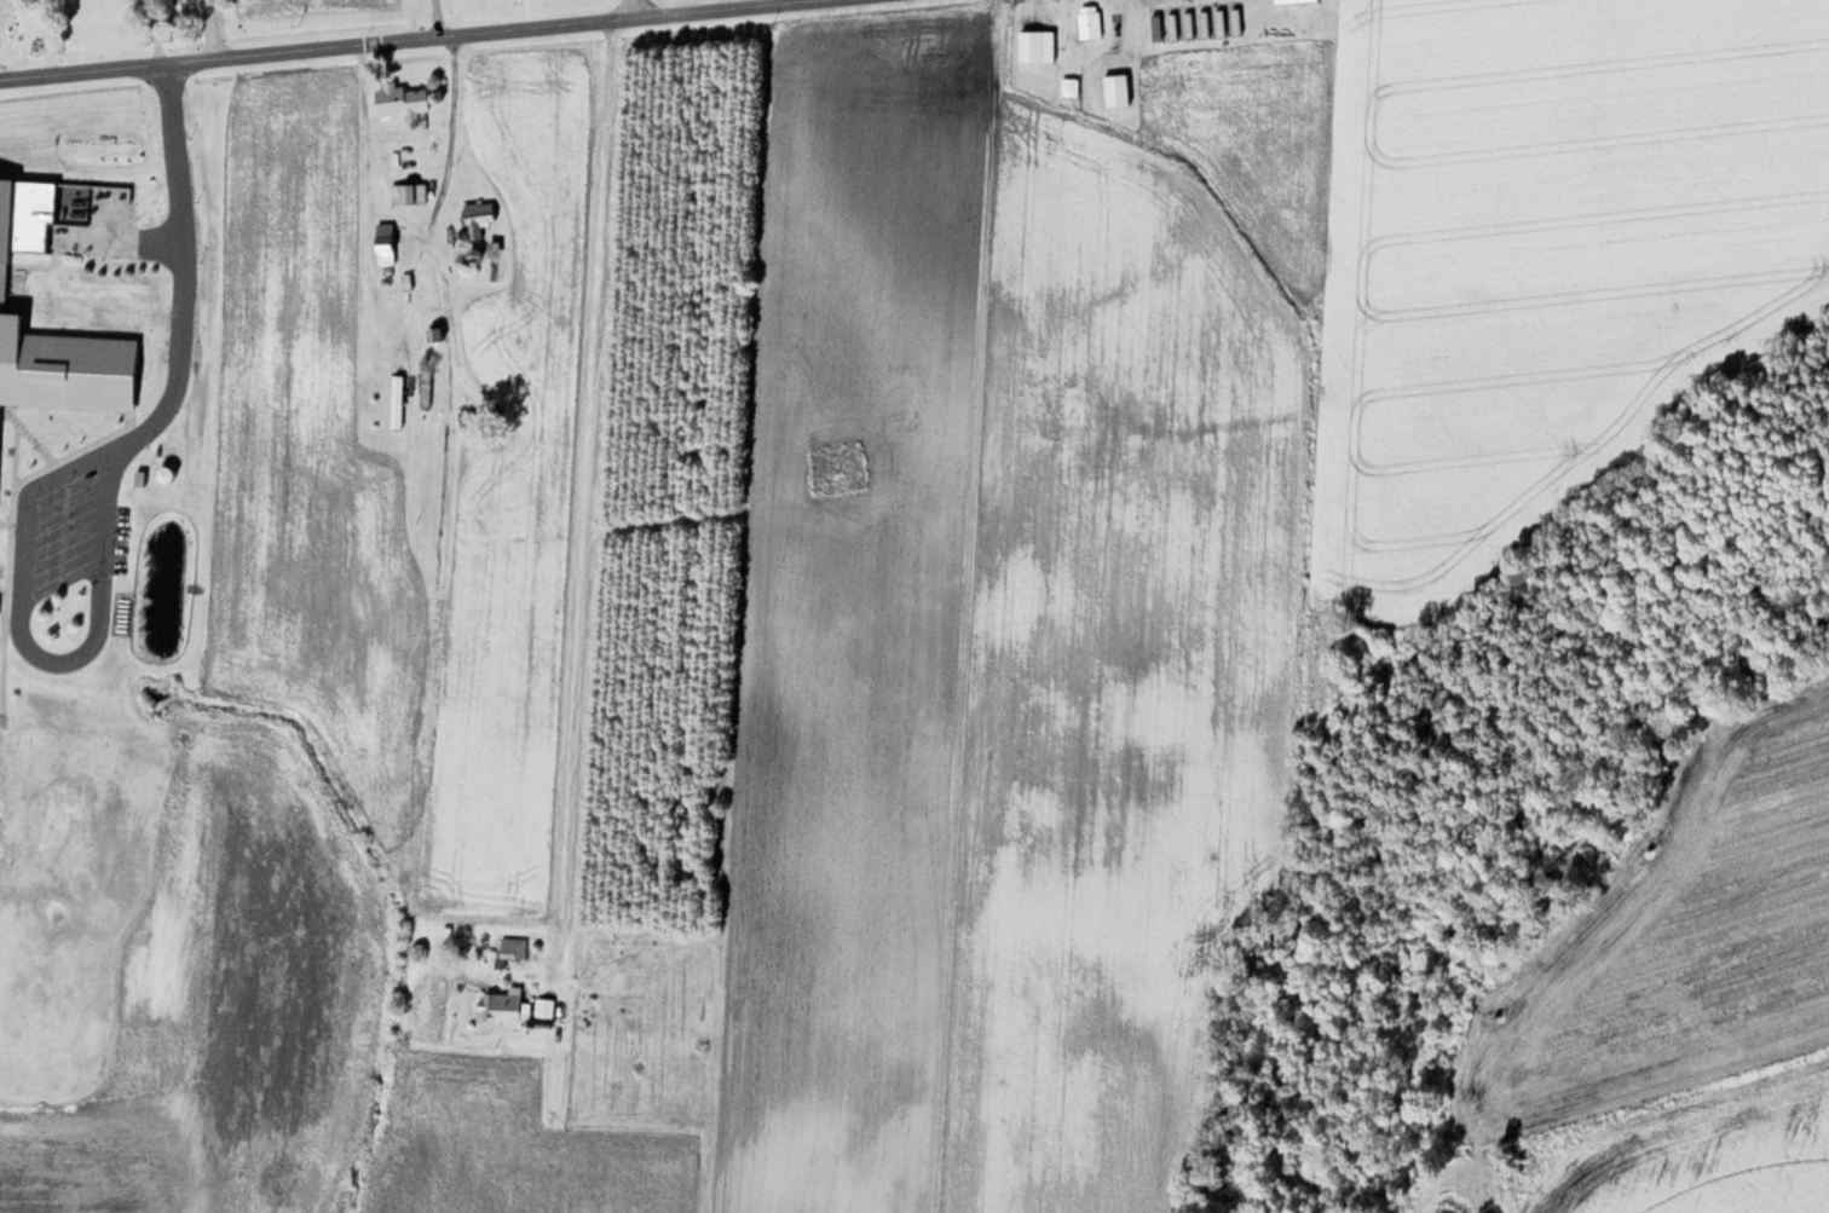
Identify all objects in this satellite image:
building: (1293, 0)
road: (639, 7)
building: (1236, 21)
building: (1089, 22)
building: (1221, 22)
building: (1204, 23)
building: (1172, 25)
building: (1188, 25)
road: (203, 29)
road: (394, 42)
building: (400, 99)
building: (408, 192)
building: (478, 218)
building: (382, 242)
building: (491, 258)
building: (425, 388)
building: (396, 400)
road: (154, 415)
road: (77, 461)
road: (446, 475)
building: (474, 526)
road: (19, 541)
road: (573, 541)
building: (512, 948)
building: (506, 1004)

